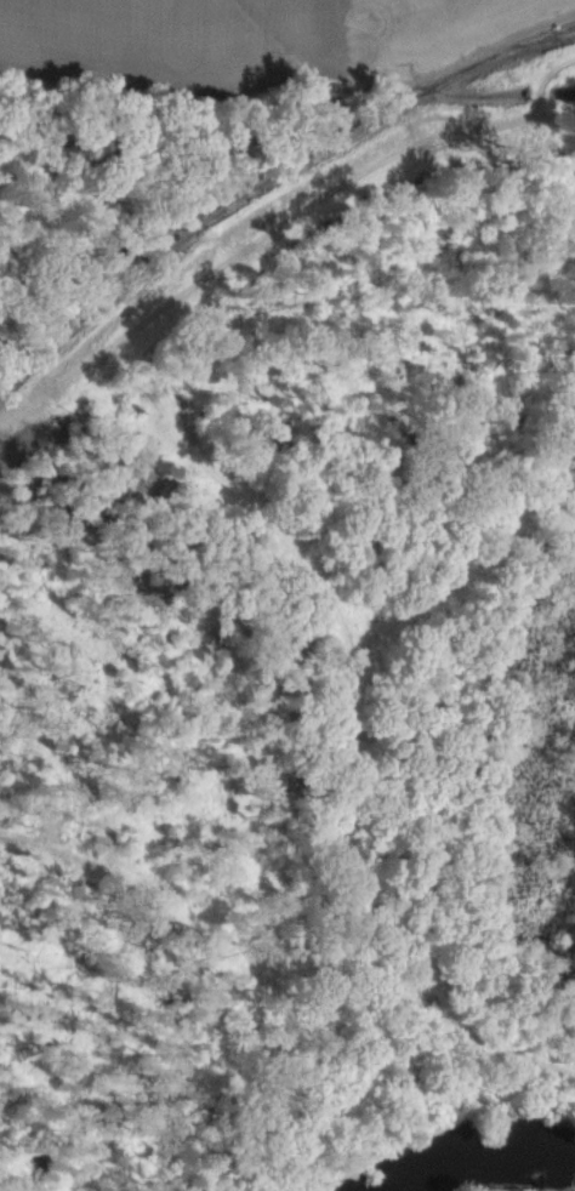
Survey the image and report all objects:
river: (479, 1157)

